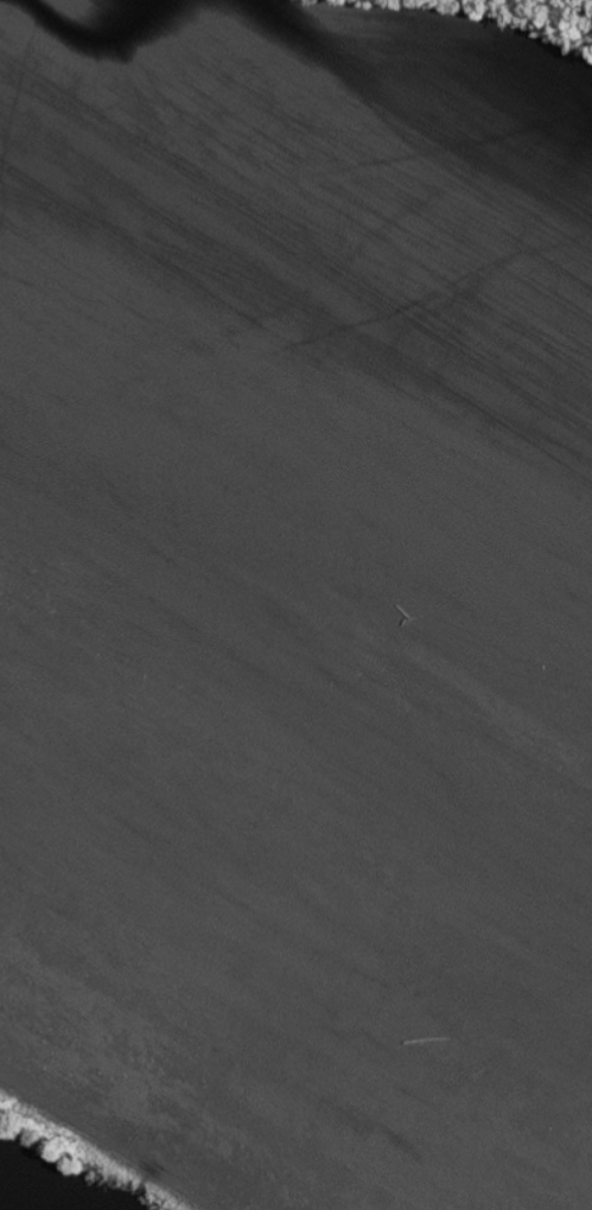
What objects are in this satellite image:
road: (291, 1028)

